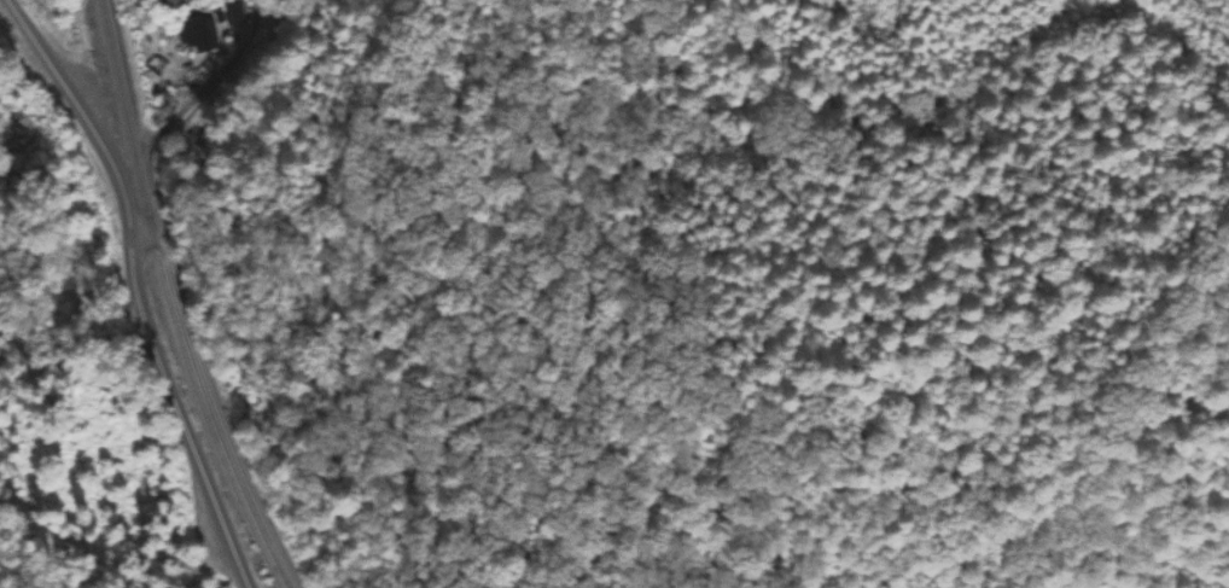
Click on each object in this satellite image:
building: (235, 13)
building: (200, 35)
road: (157, 231)
road: (139, 232)
road: (177, 281)
road: (134, 286)
railway: (170, 302)
road: (182, 517)
road: (249, 587)

